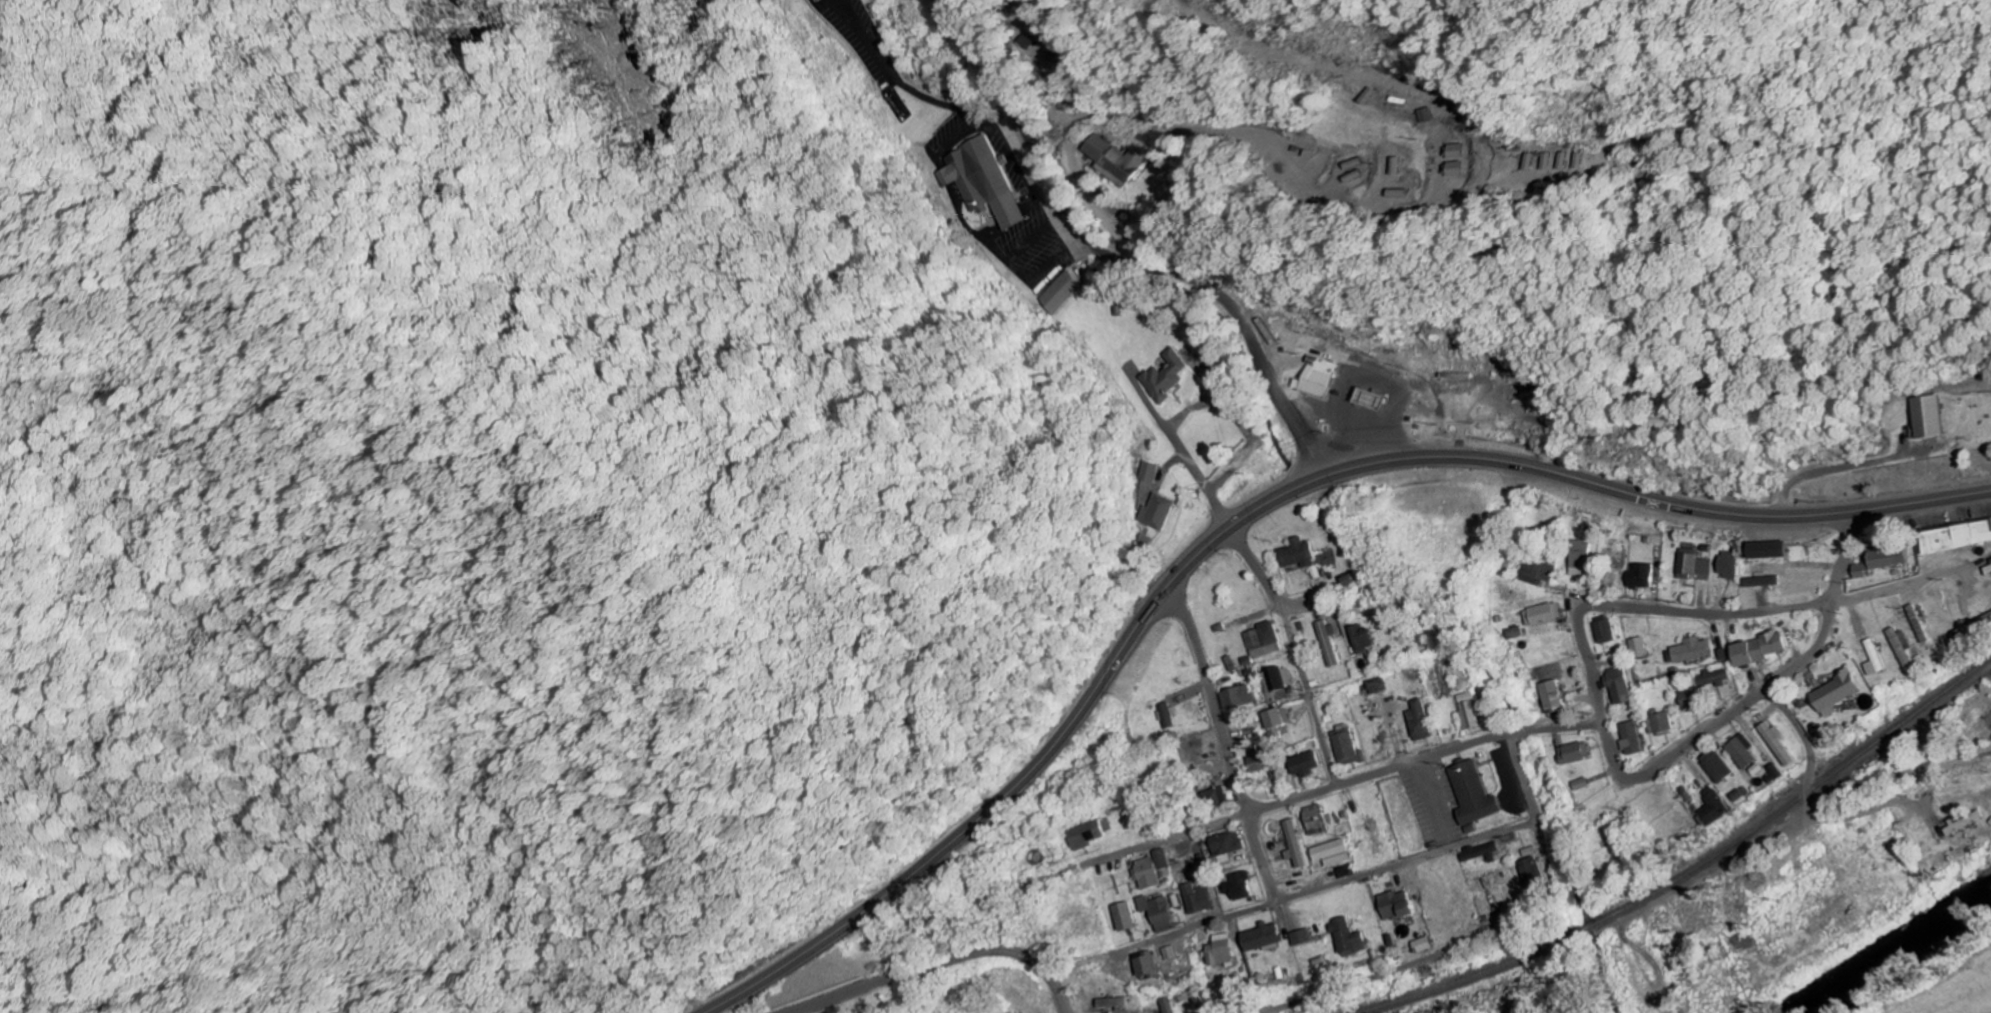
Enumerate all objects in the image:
building: (810, 0)
building: (1032, 41)
building: (1457, 151)
building: (1115, 160)
building: (1568, 160)
building: (1533, 161)
building: (1551, 161)
building: (1459, 168)
building: (979, 180)
road: (1119, 258)
building: (1053, 292)
building: (1315, 376)
building: (1162, 377)
building: (1365, 398)
building: (1929, 416)
building: (1145, 472)
road: (1656, 500)
building: (1154, 511)
building: (1955, 537)
building: (1763, 549)
building: (1295, 553)
building: (1577, 558)
building: (1878, 559)
building: (1689, 564)
building: (1725, 565)
building: (1536, 570)
building: (1986, 570)
road: (1258, 571)
building: (1638, 575)
building: (1757, 581)
road: (1655, 610)
road: (1291, 612)
building: (1541, 614)
building: (1916, 623)
building: (1973, 628)
building: (1603, 631)
building: (1514, 633)
building: (1359, 638)
building: (1258, 642)
building: (1325, 643)
building: (1899, 646)
building: (1636, 647)
building: (1754, 649)
building: (1688, 650)
building: (1872, 657)
building: (1711, 678)
building: (1274, 679)
building: (1374, 685)
building: (1617, 685)
building: (1832, 694)
building: (1234, 697)
building: (1551, 697)
road: (1757, 697)
road: (1211, 698)
building: (1688, 698)
road: (1309, 701)
building: (1160, 715)
building: (1273, 720)
building: (1416, 720)
building: (1659, 722)
building: (1630, 738)
building: (1775, 743)
building: (1342, 744)
road: (1809, 746)
building: (1741, 751)
building: (1574, 752)
road: (1423, 760)
road: (1039, 763)
building: (1252, 764)
building: (1301, 764)
building: (1715, 766)
building: (1472, 794)
building: (1210, 796)
building: (1712, 808)
building: (1312, 820)
building: (1963, 822)
road: (1785, 828)
road: (1542, 833)
building: (1085, 834)
road: (1175, 836)
building: (1222, 843)
building: (1291, 844)
building: (1480, 852)
building: (1330, 853)
road: (1260, 858)
building: (1532, 872)
building: (1142, 873)
railway: (1684, 874)
road: (1352, 878)
building: (1234, 886)
building: (1192, 898)
building: (1394, 905)
building: (1154, 912)
building: (1120, 917)
building: (1257, 937)
building: (1298, 937)
building: (1346, 939)
building: (1421, 945)
river: (1892, 947)
building: (1216, 951)
building: (1165, 953)
road: (940, 962)
building: (1141, 966)
road: (1389, 970)
road: (1980, 970)
building: (1161, 1005)

